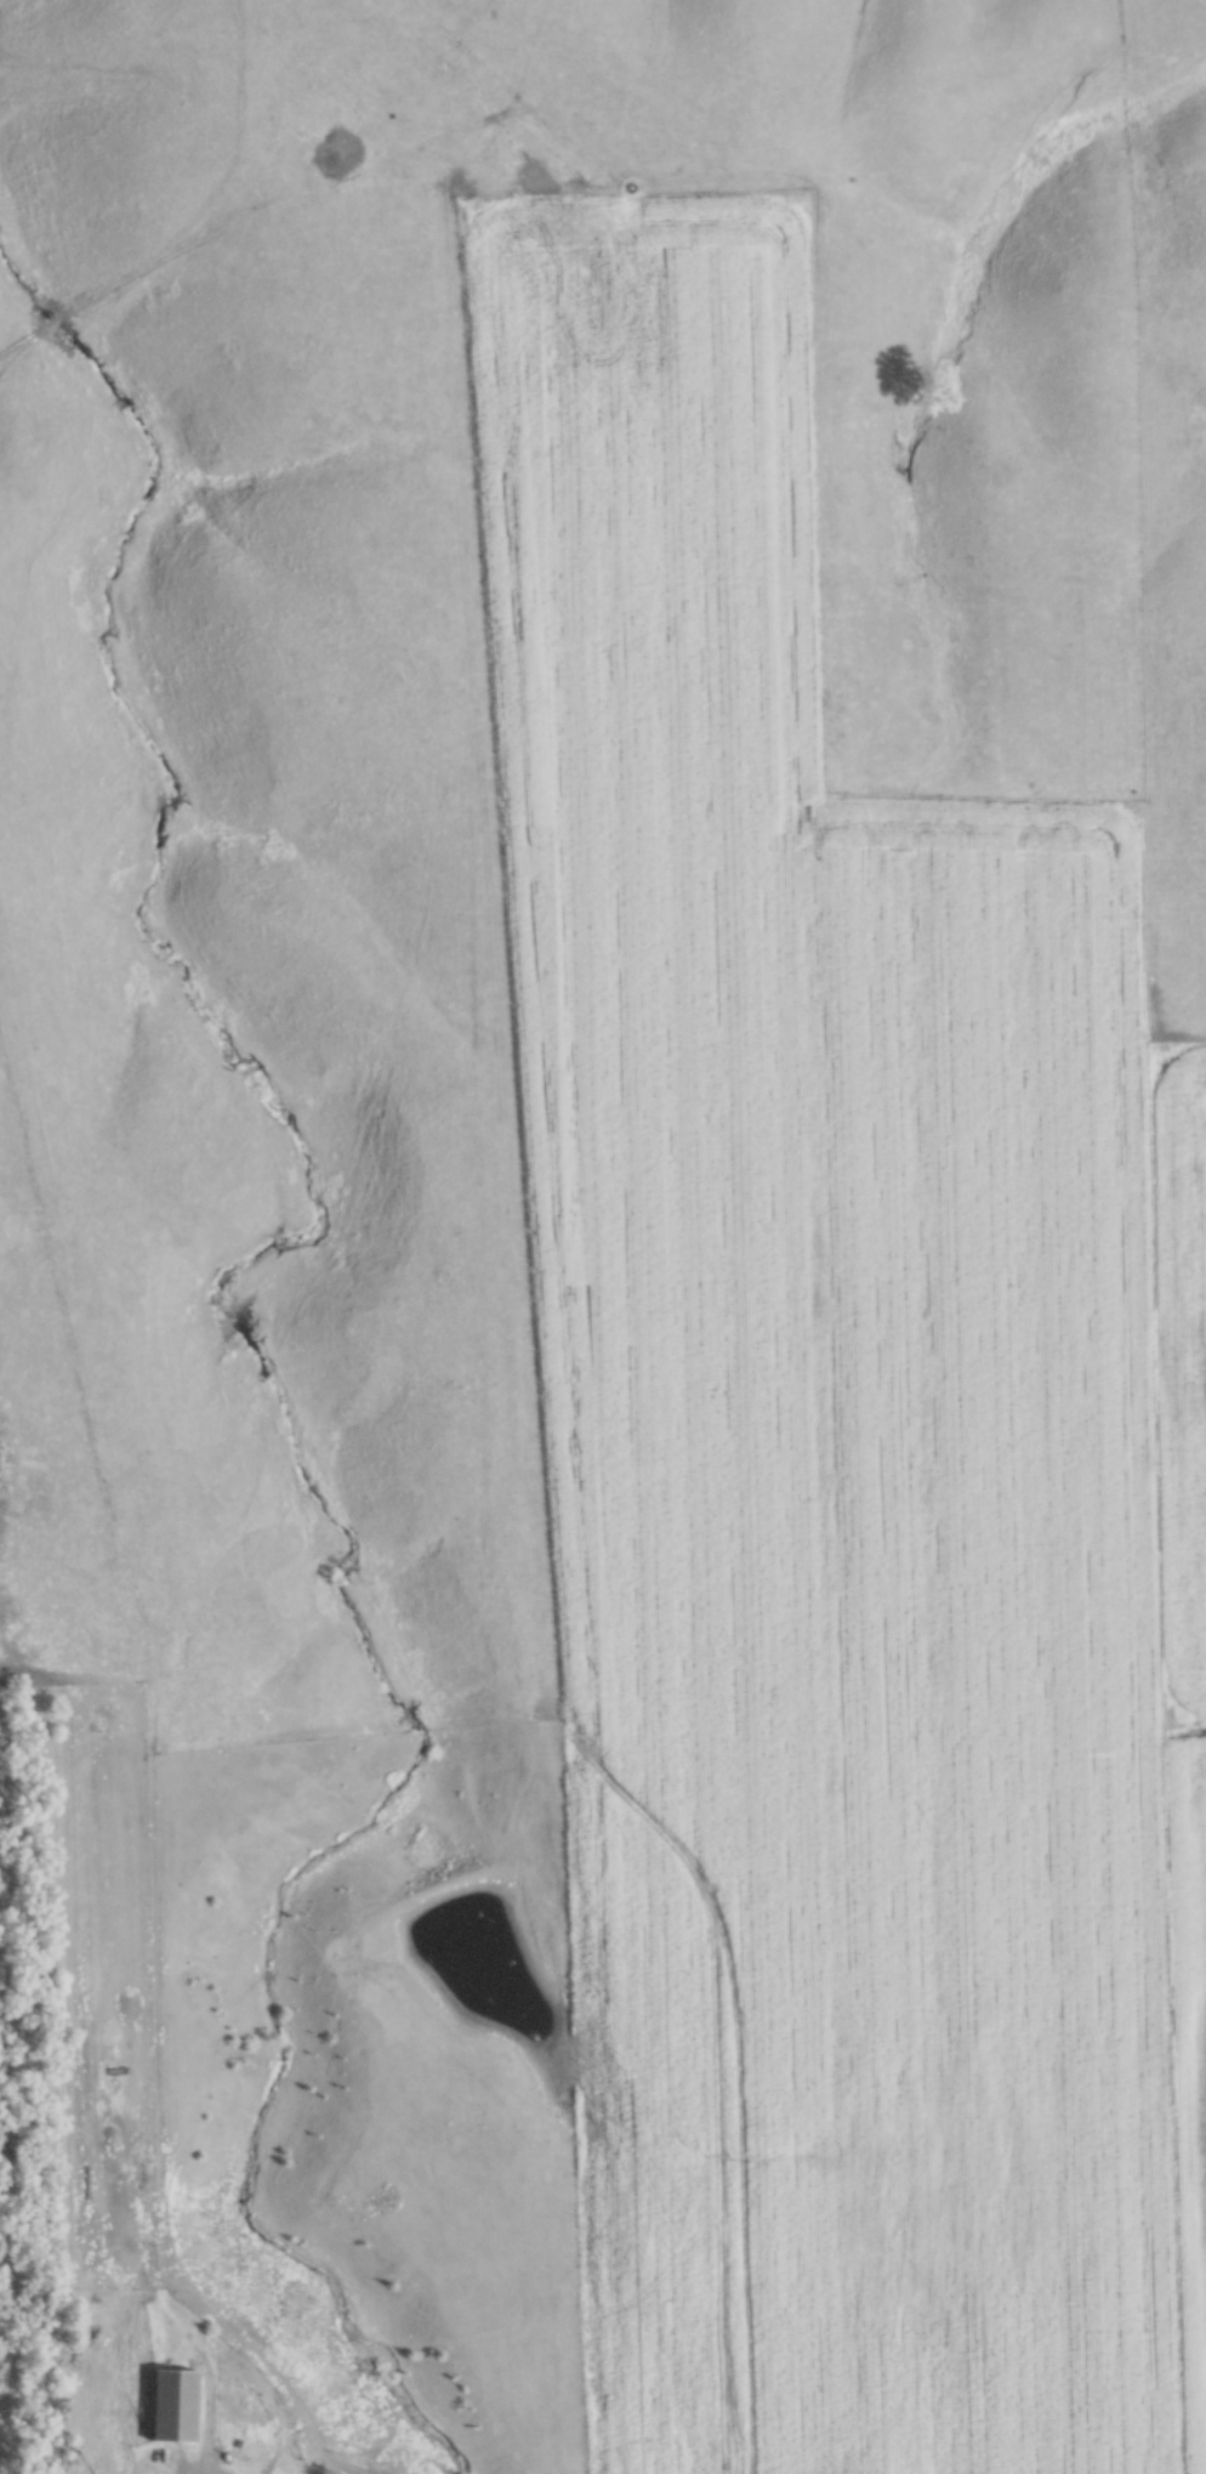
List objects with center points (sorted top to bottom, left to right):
building: (175, 2402)

